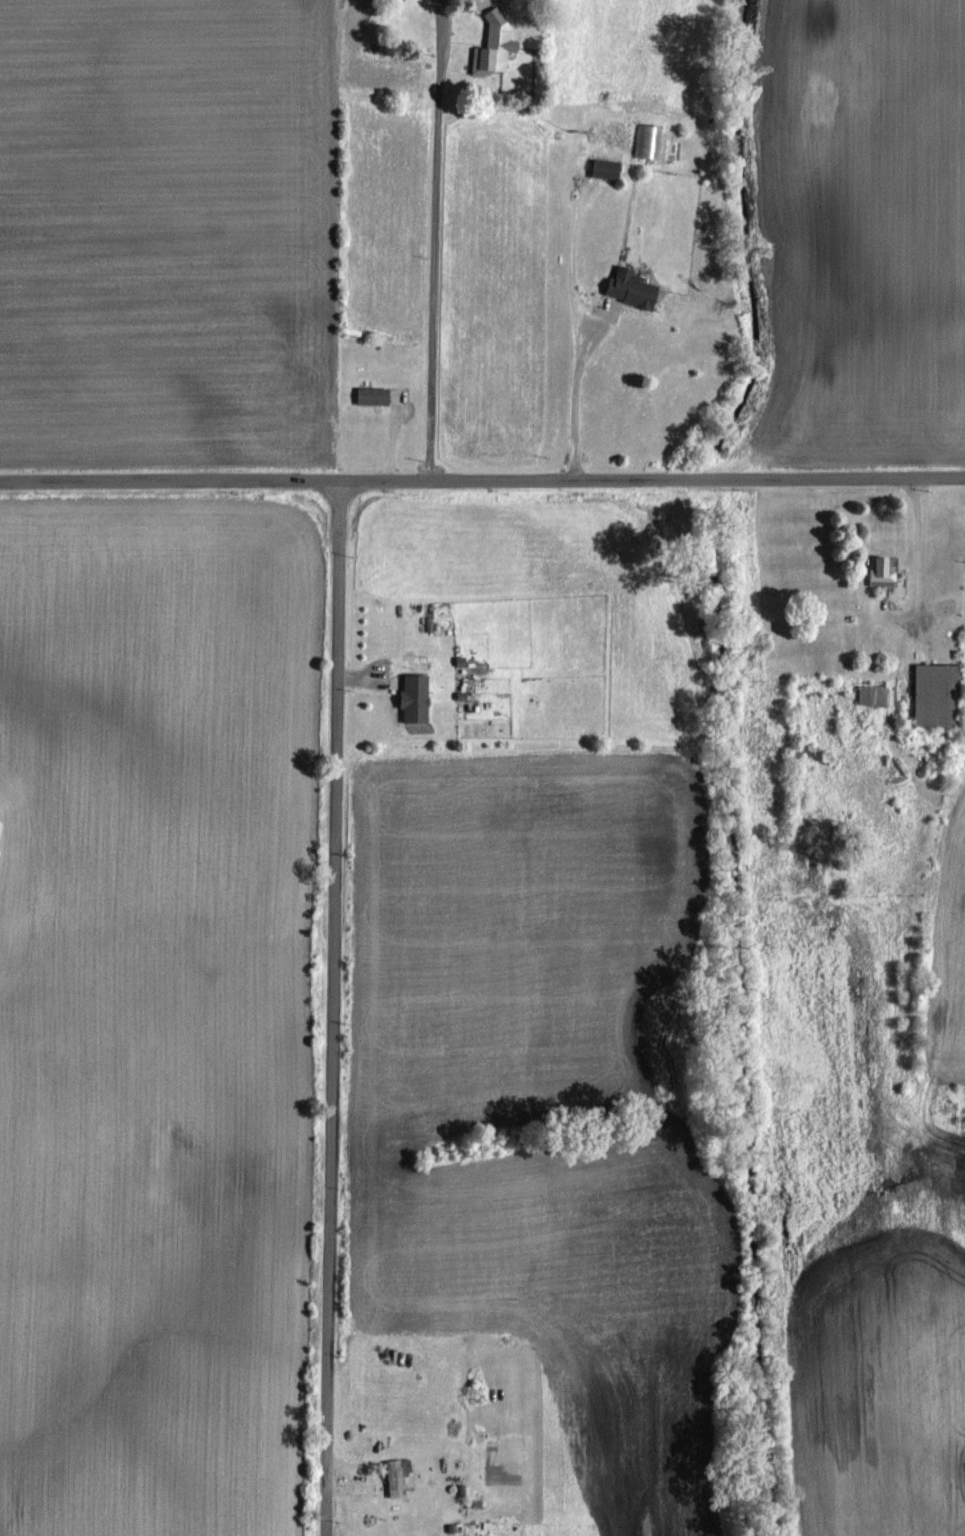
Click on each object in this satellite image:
building: (499, 42)
building: (606, 167)
road: (433, 240)
building: (636, 288)
building: (374, 395)
road: (572, 398)
road: (482, 480)
road: (916, 546)
building: (886, 570)
building: (940, 693)
building: (417, 697)
road: (332, 1008)
building: (400, 1475)

